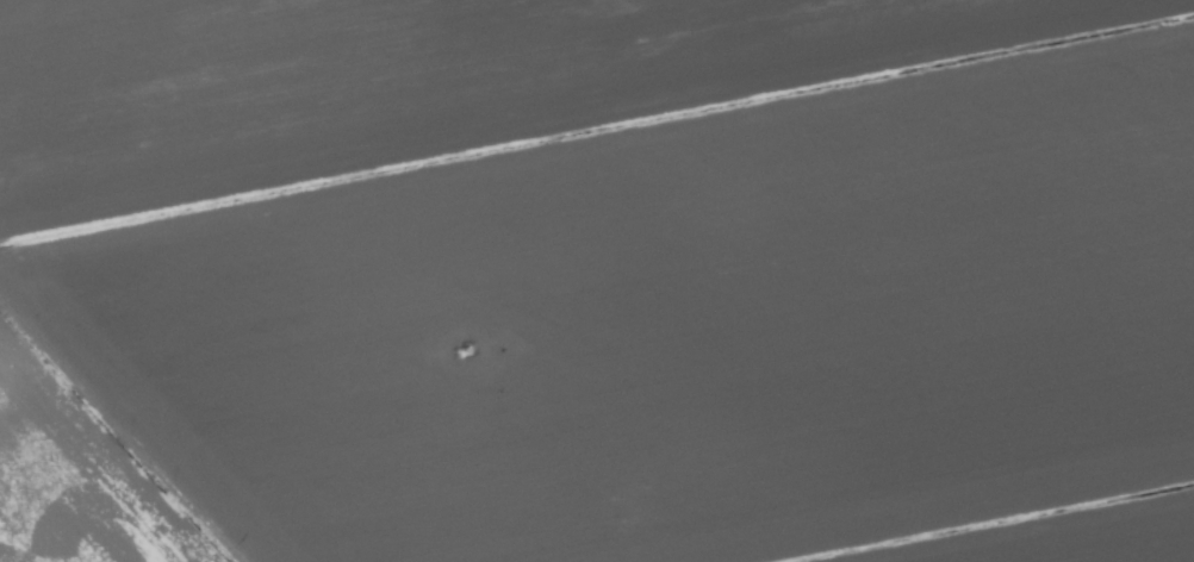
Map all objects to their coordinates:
crop: (597, 281)

